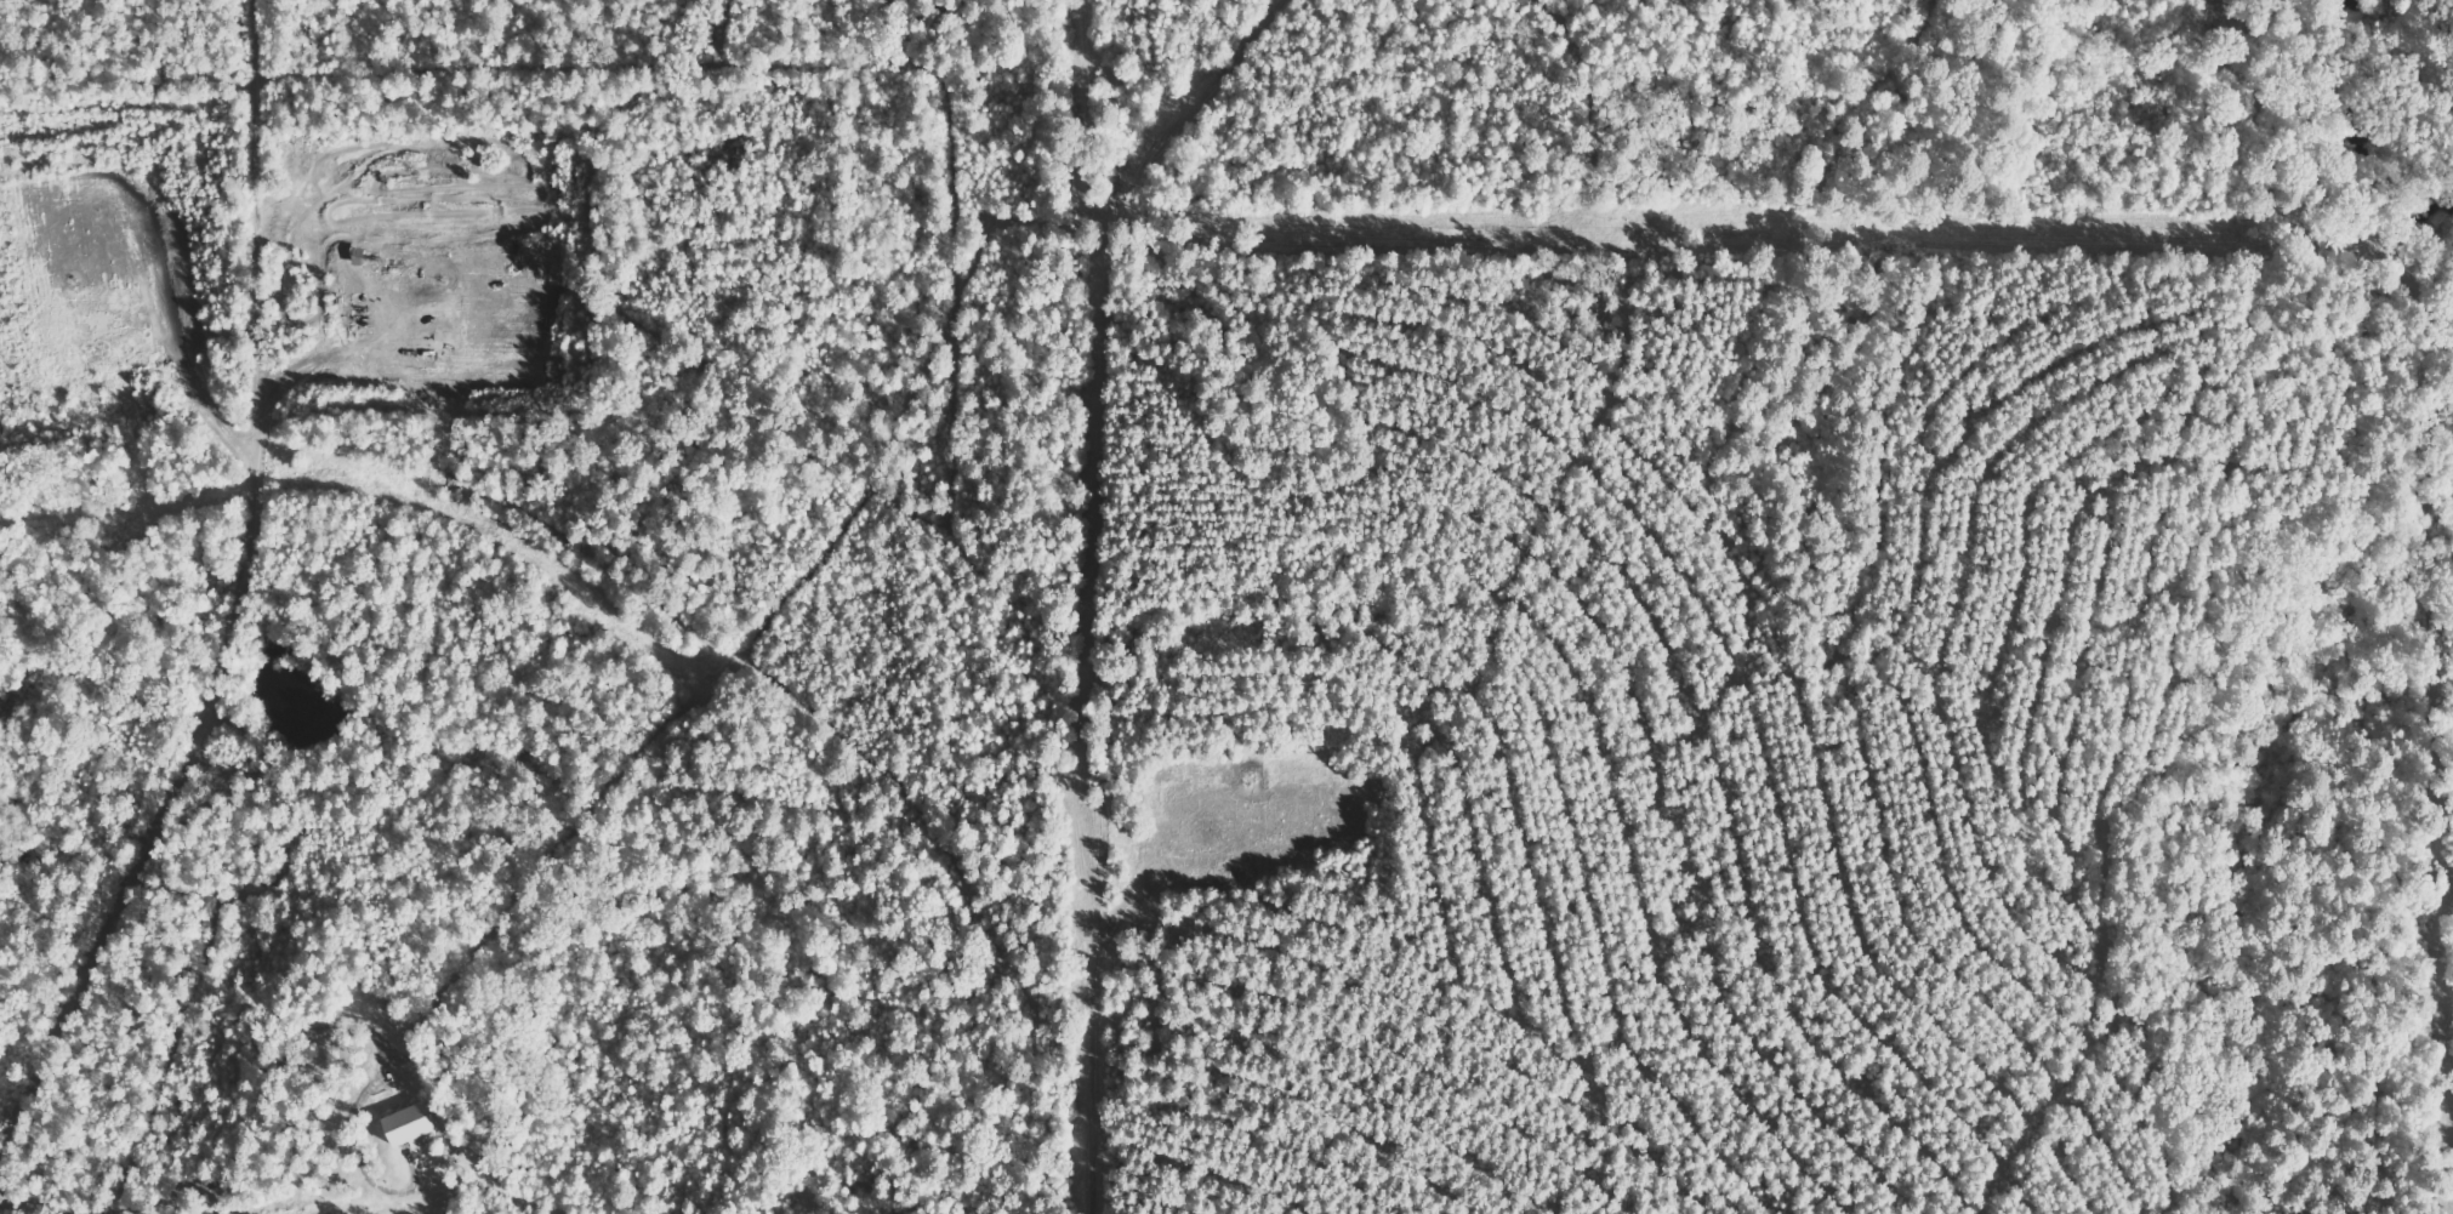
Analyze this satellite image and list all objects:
building: (410, 1128)

